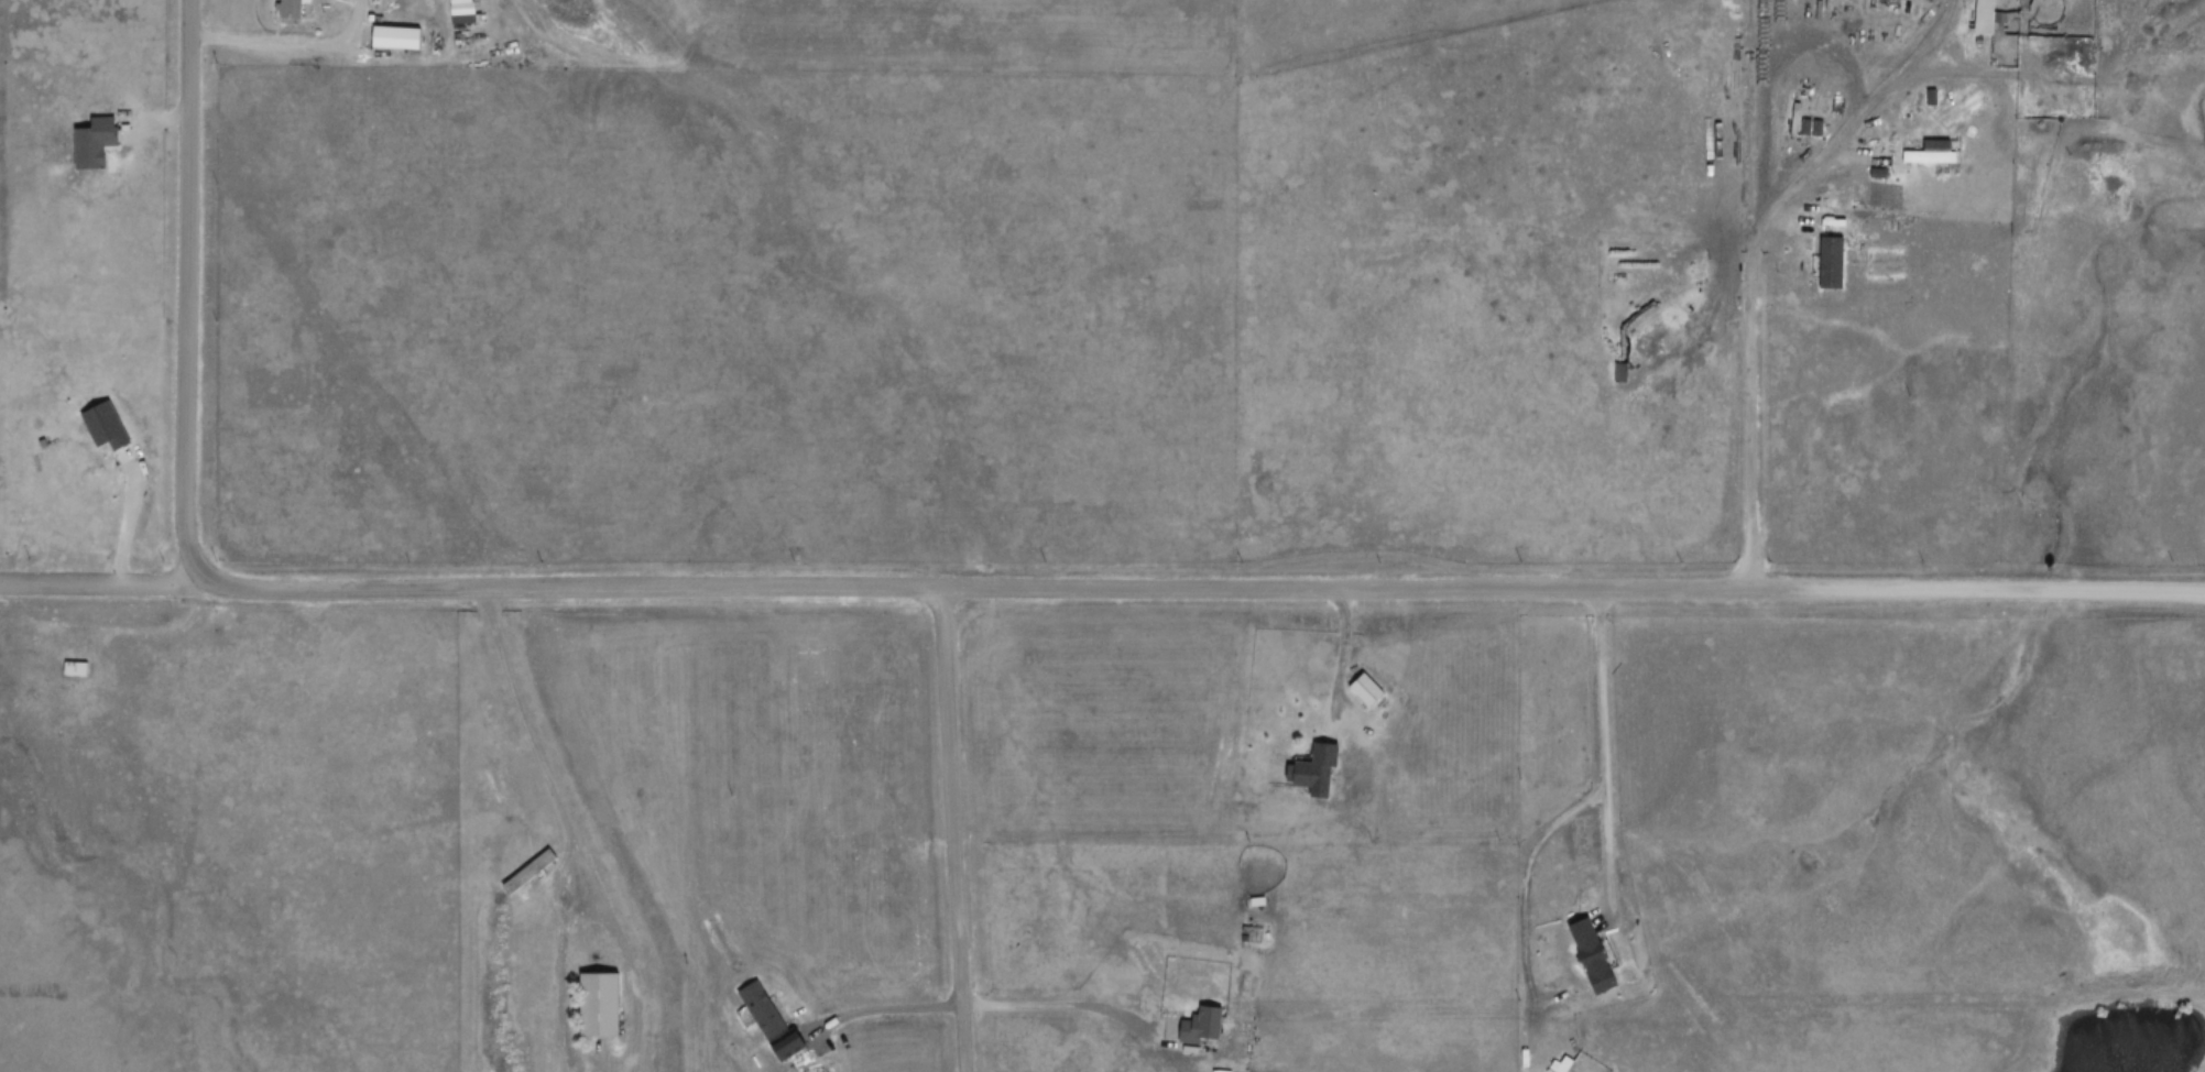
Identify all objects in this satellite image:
building: (292, 13)
building: (461, 17)
building: (1987, 22)
building: (397, 45)
building: (1750, 146)
building: (96, 151)
building: (1932, 161)
building: (1620, 381)
building: (105, 435)
road: (90, 584)
road: (899, 591)
building: (75, 677)
building: (1318, 779)
road: (949, 832)
building: (528, 879)
building: (1594, 964)
building: (601, 1014)
building: (763, 1020)
building: (1202, 1035)

